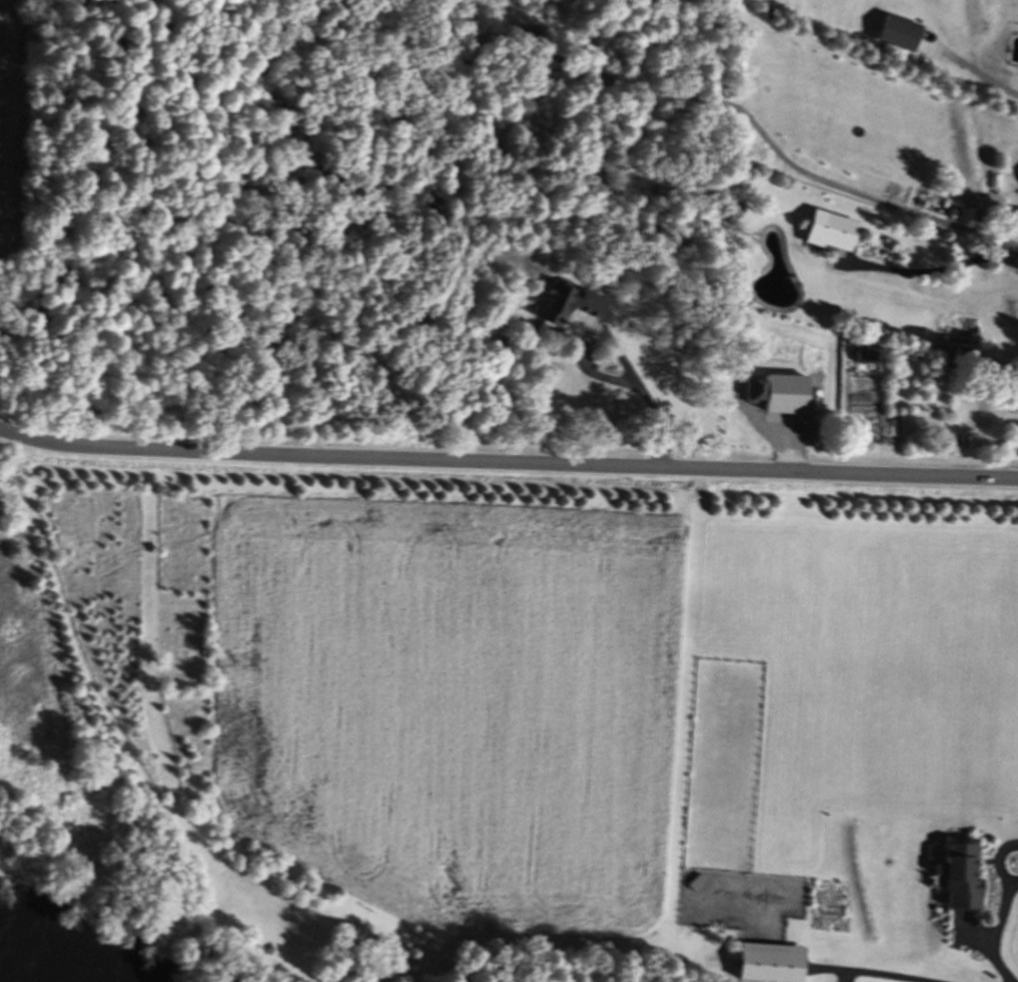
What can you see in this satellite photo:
building: (901, 36)
crop: (10, 123)
building: (969, 218)
building: (834, 234)
building: (571, 307)
building: (866, 360)
road: (597, 378)
building: (788, 398)
road: (507, 462)
building: (962, 877)
road: (1000, 925)
building: (772, 964)
road: (874, 974)
river: (11, 976)

